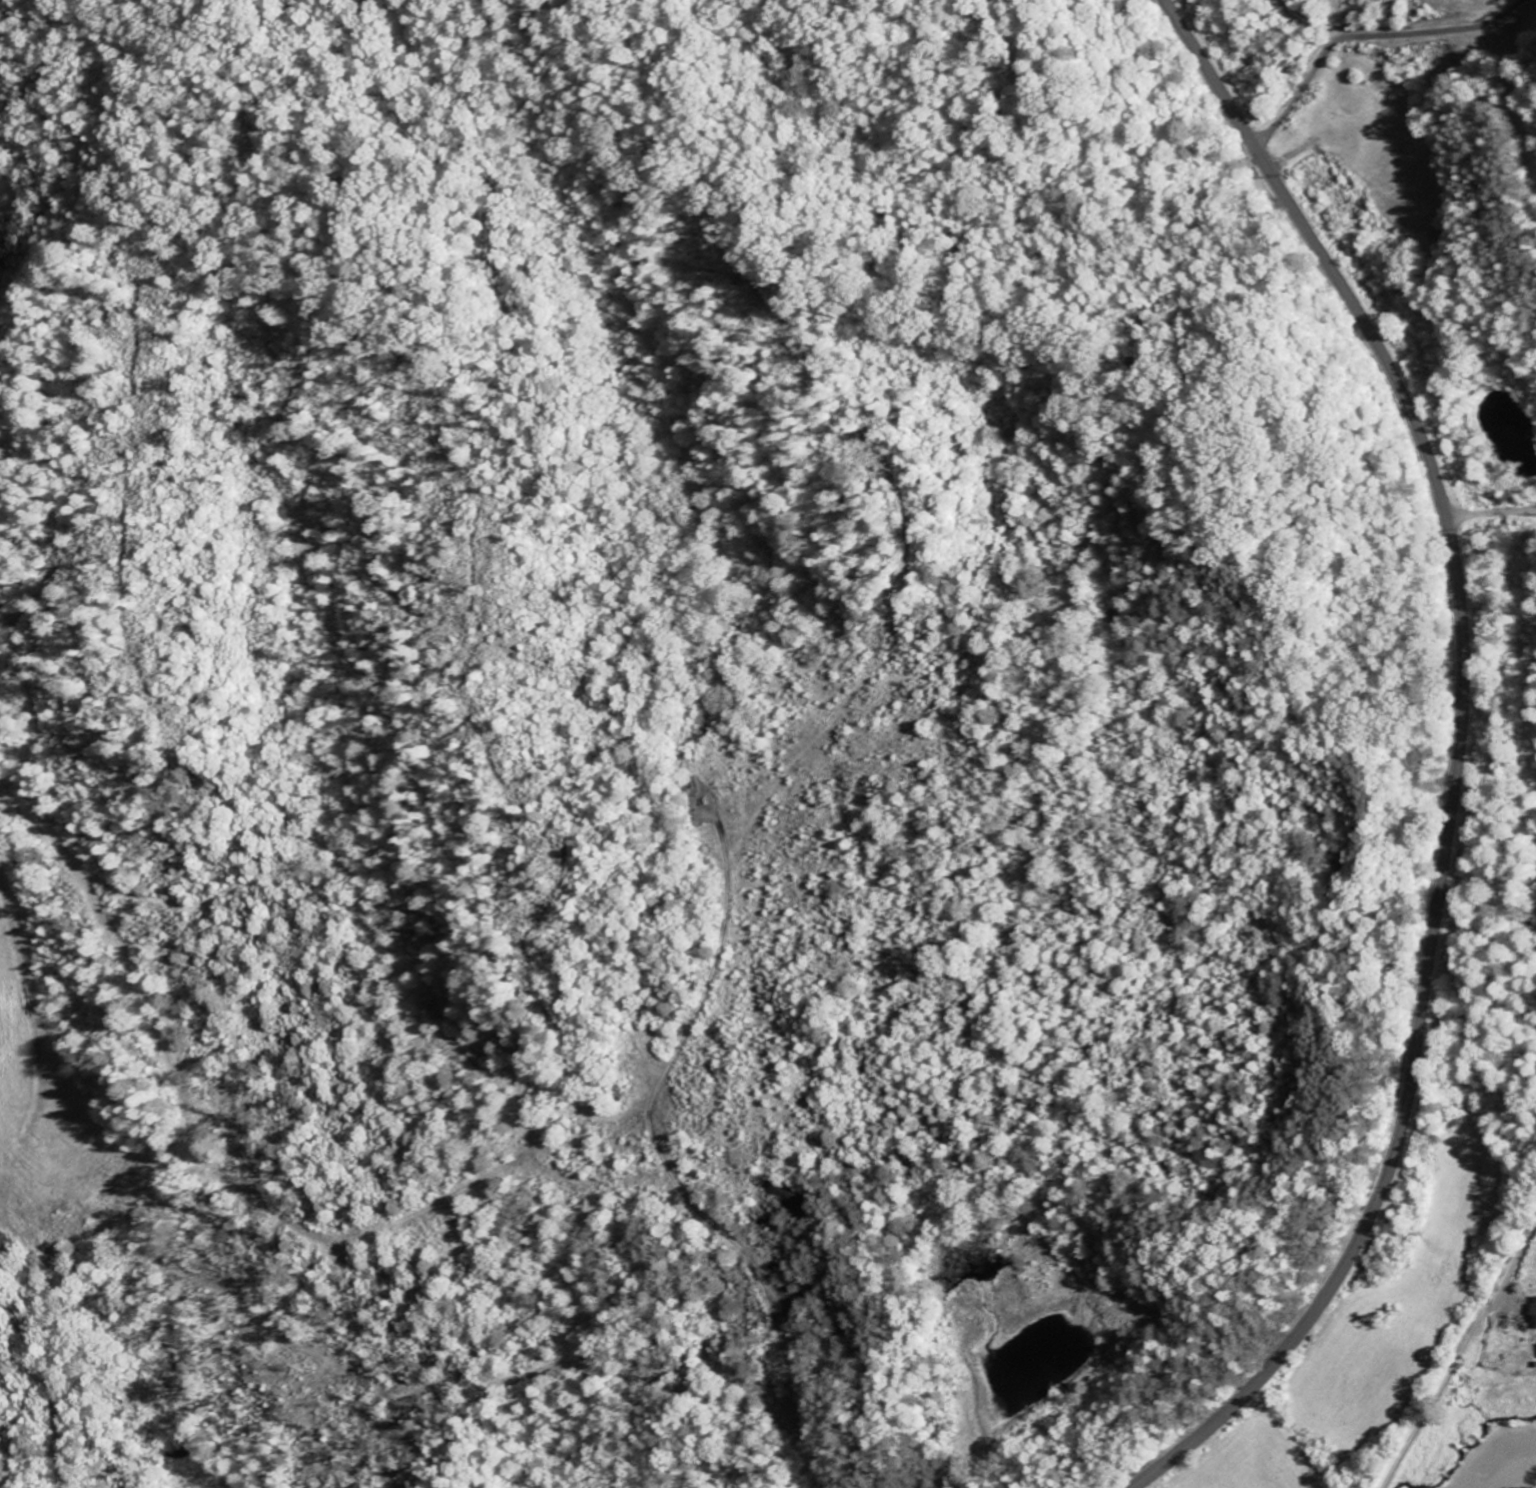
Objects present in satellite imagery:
road: (1461, 758)
building: (1535, 1306)
road: (1459, 1352)

